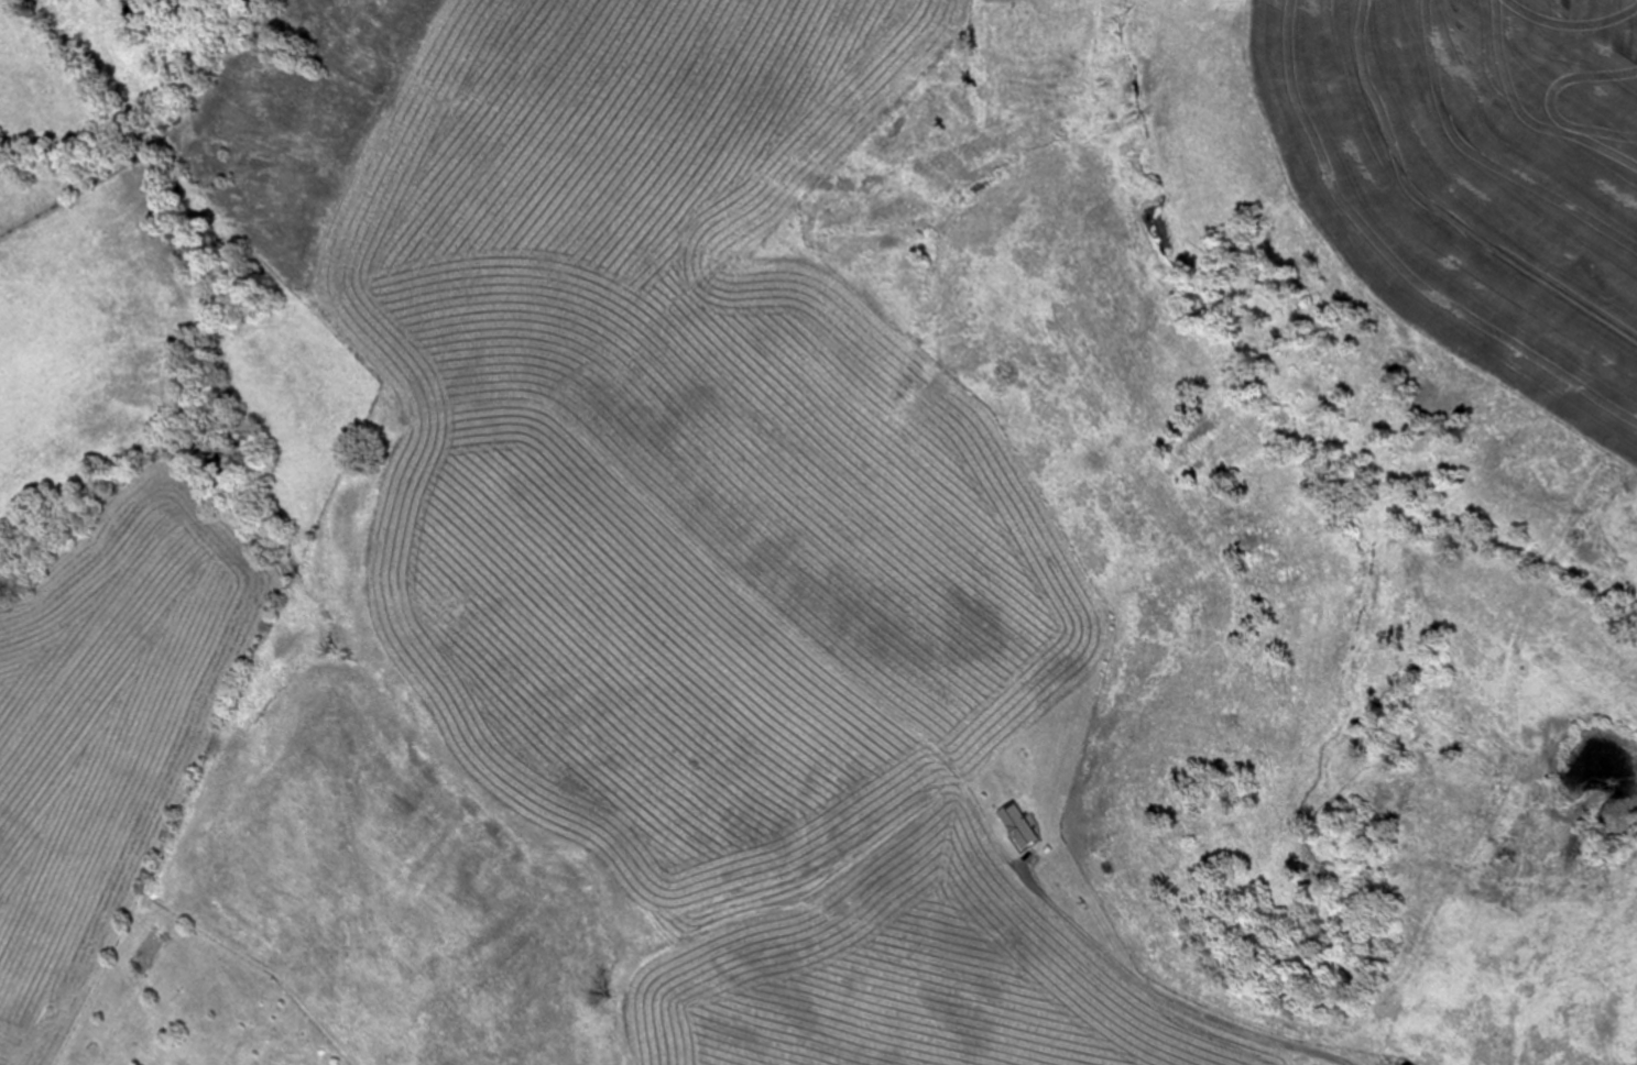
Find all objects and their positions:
building: (1029, 825)
road: (1253, 1020)

